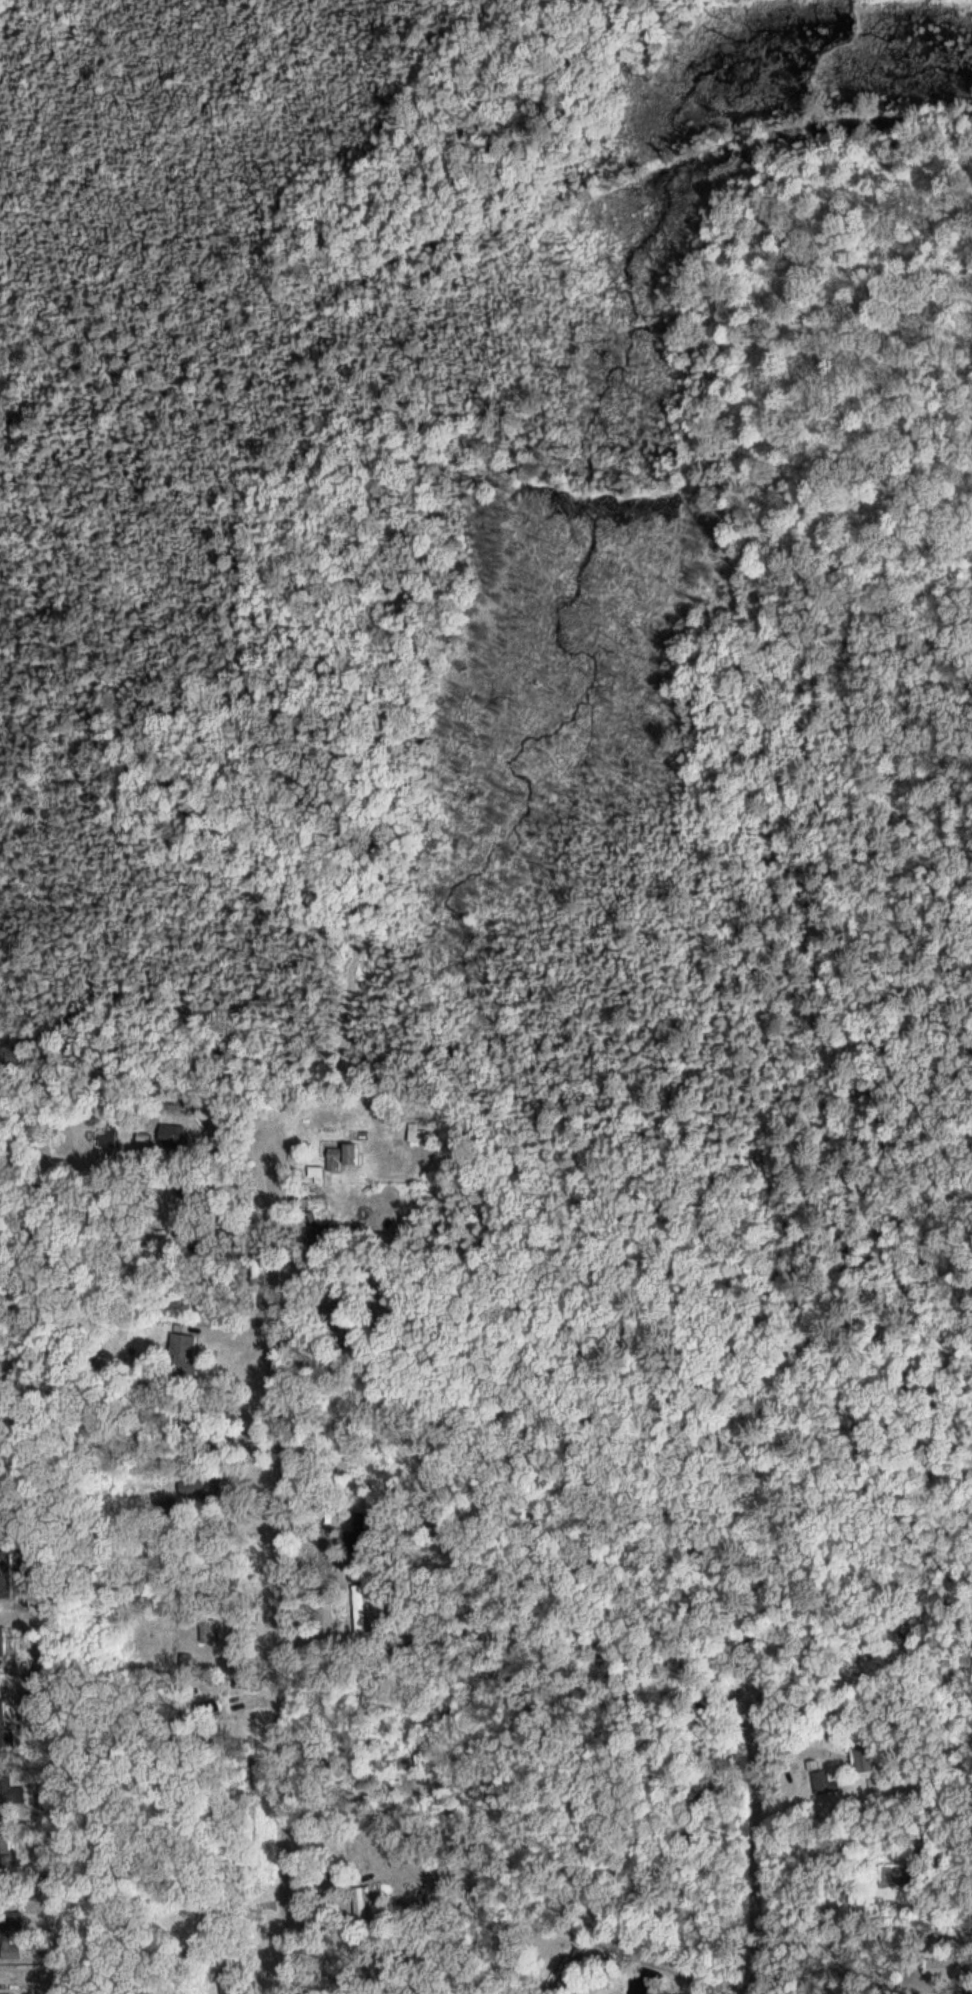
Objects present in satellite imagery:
building: (176, 1134)
building: (420, 1134)
building: (111, 1135)
building: (345, 1154)
building: (185, 1344)
building: (201, 1487)
road: (277, 1611)
building: (866, 1755)
road: (763, 1874)
building: (363, 1904)
building: (226, 1983)
building: (668, 1993)

